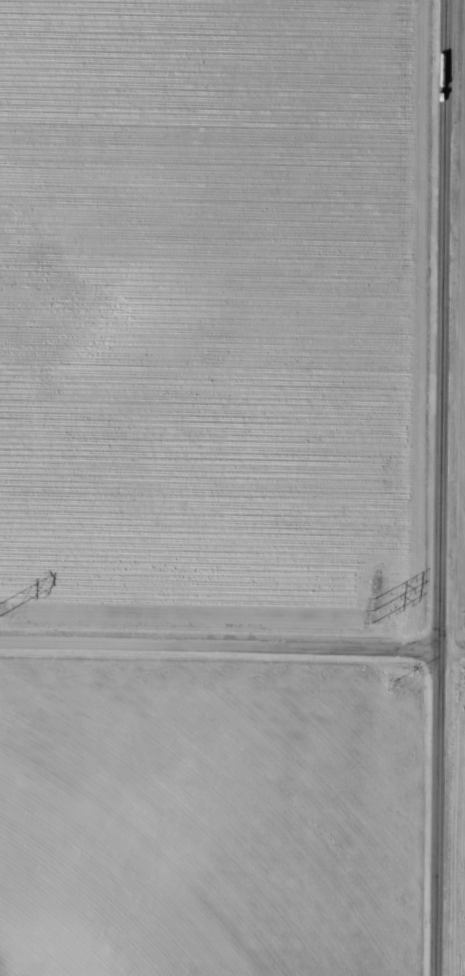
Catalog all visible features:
road: (433, 487)
power tower: (1, 608)
power tower: (376, 611)
road: (214, 664)
road: (446, 666)

